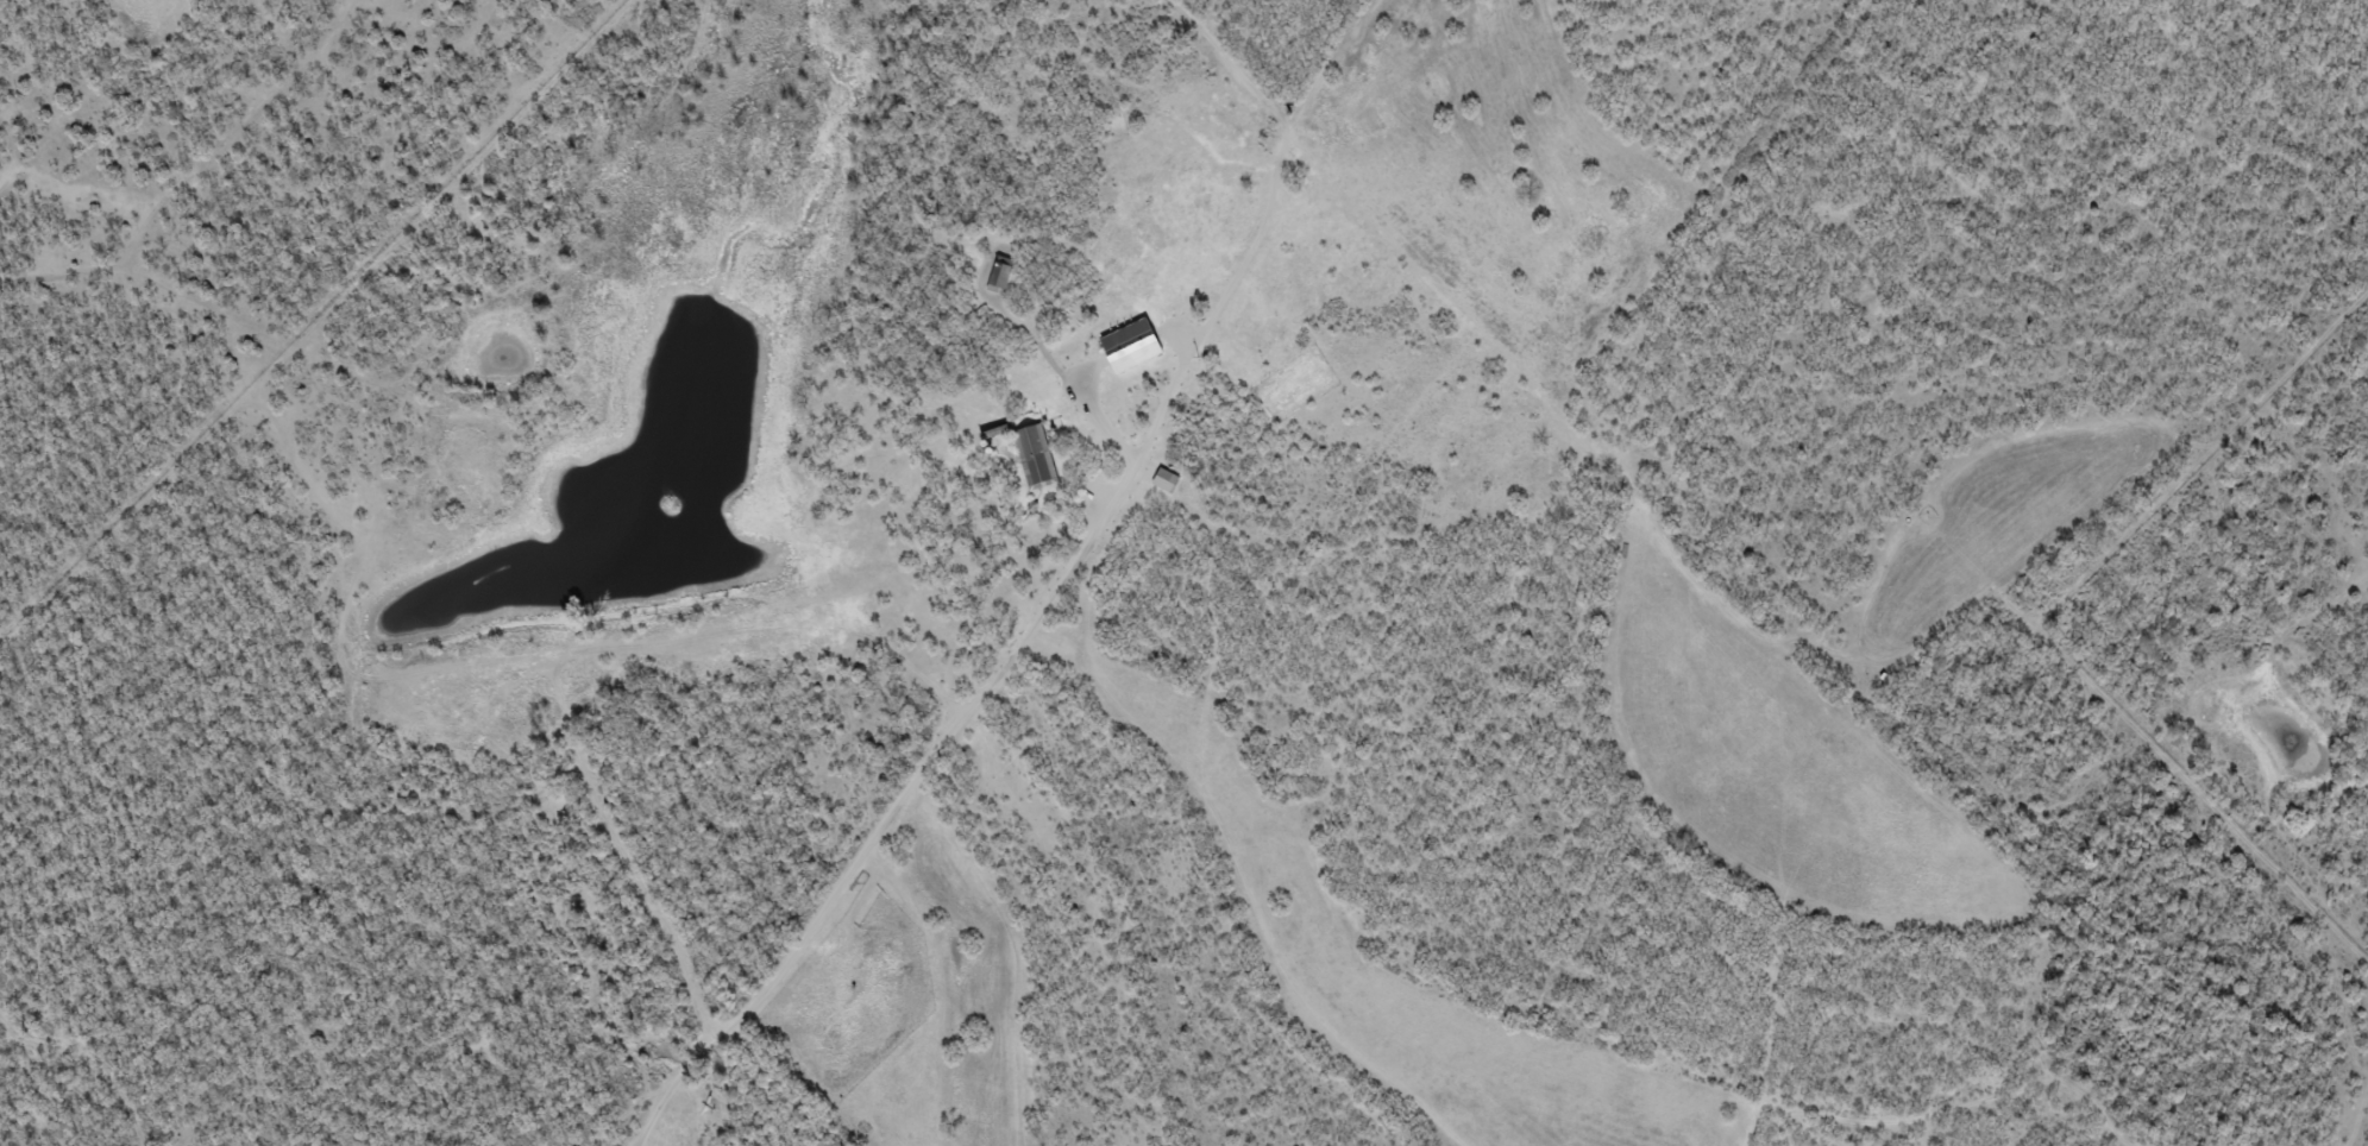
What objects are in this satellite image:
crop: (145, 15)
road: (1323, 67)
road: (1239, 76)
road: (226, 136)
road: (652, 275)
building: (1035, 460)
building: (1167, 481)
road: (496, 517)
road: (1390, 542)
road: (1960, 763)
road: (885, 824)
road: (1654, 833)
road: (2307, 900)
road: (935, 988)
road: (80, 1066)
road: (1954, 1109)
road: (626, 1144)

